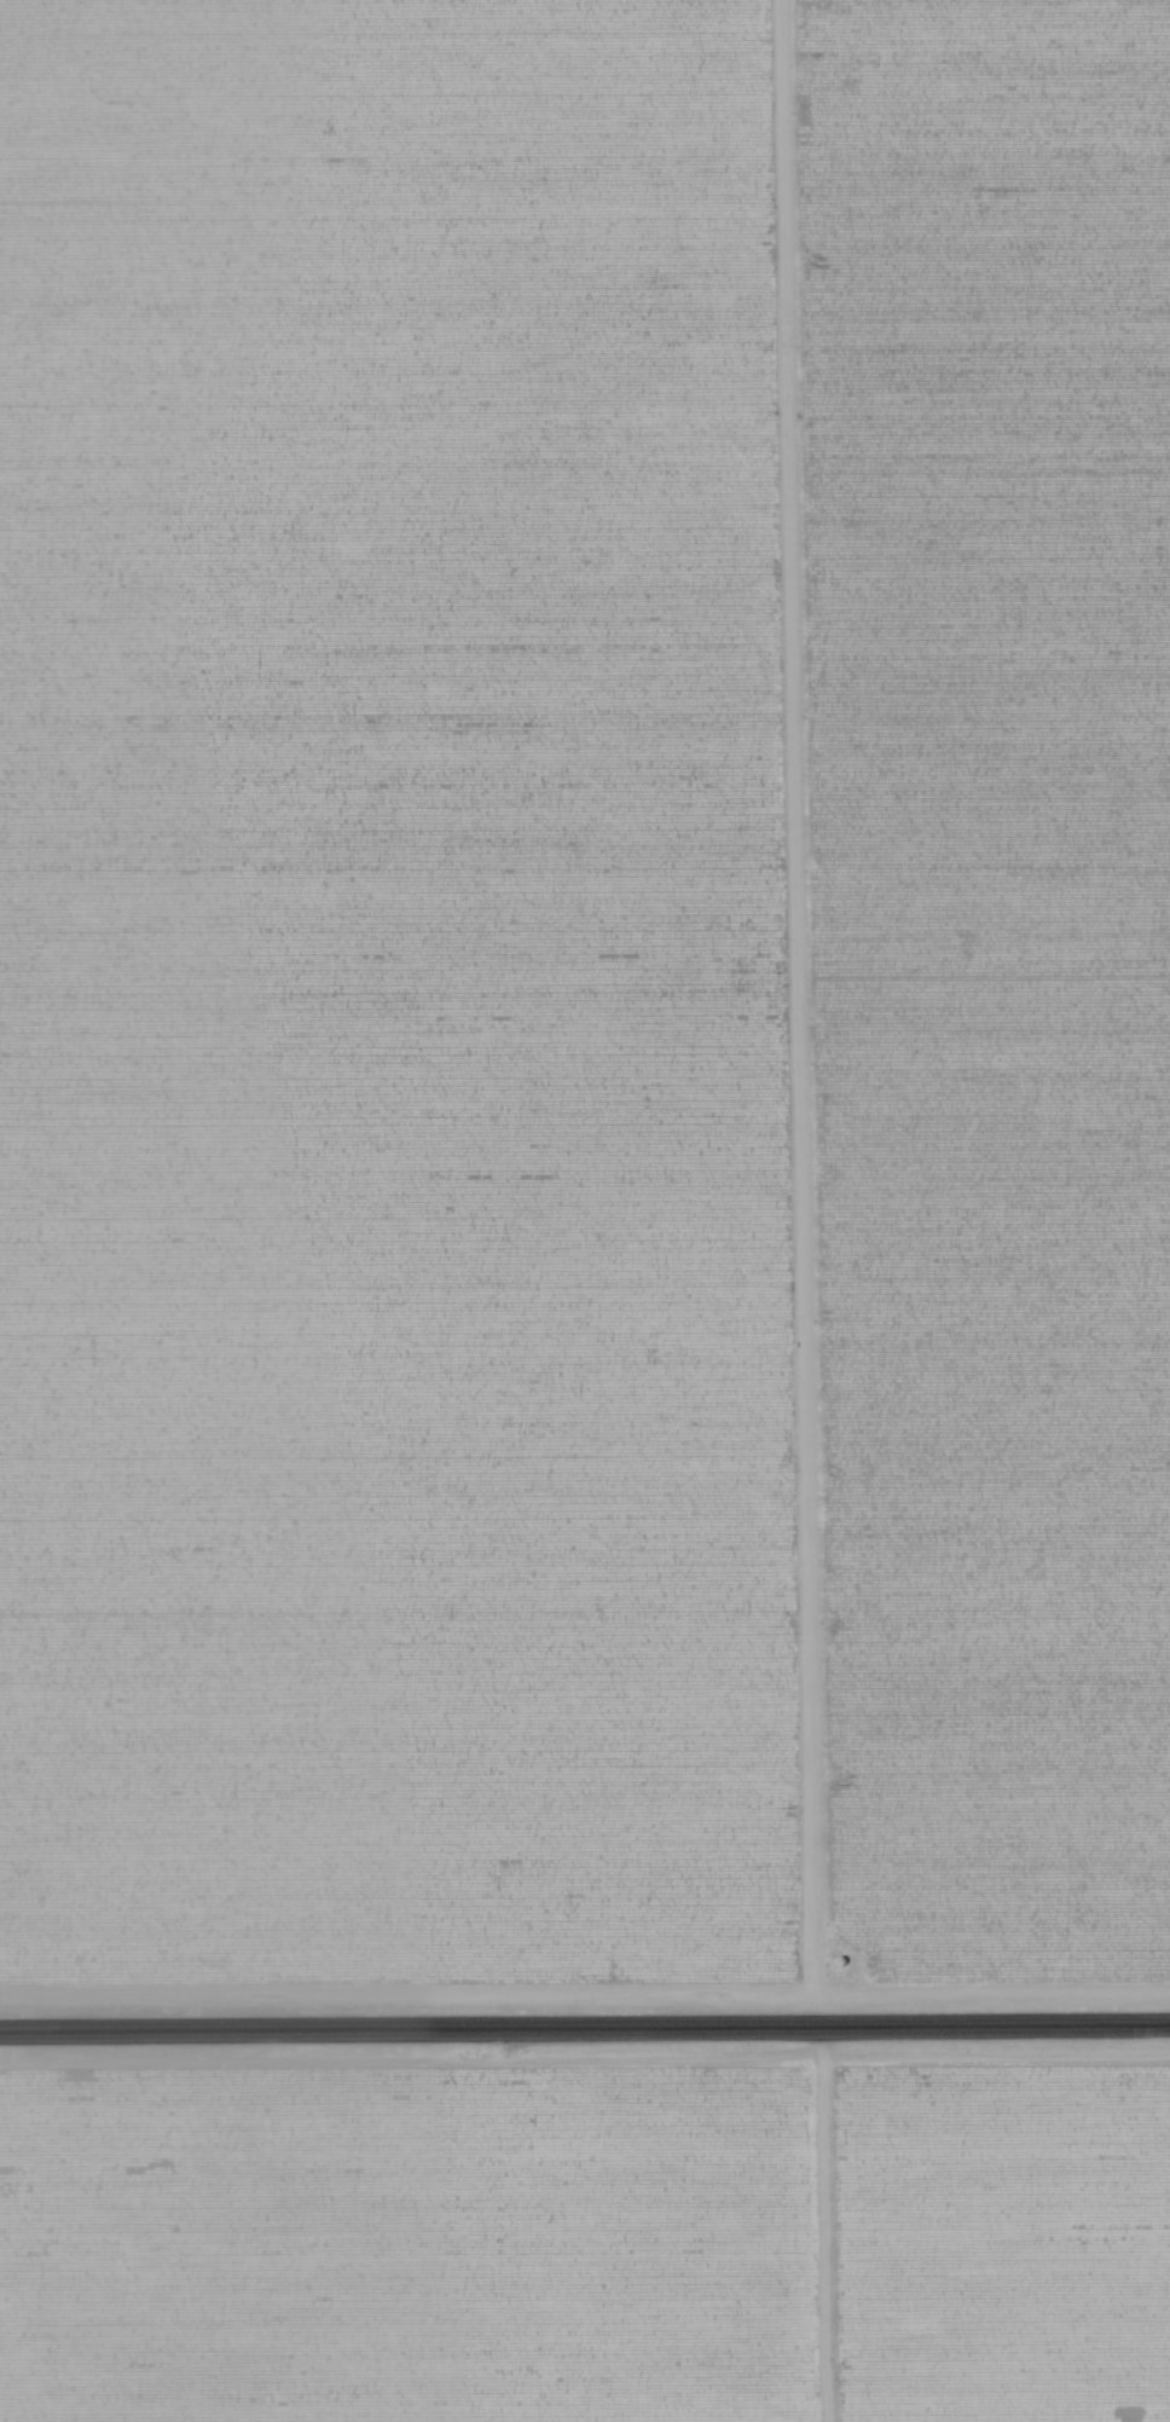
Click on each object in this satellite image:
crop: (584, 990)
road: (585, 2031)
crop: (586, 2250)

